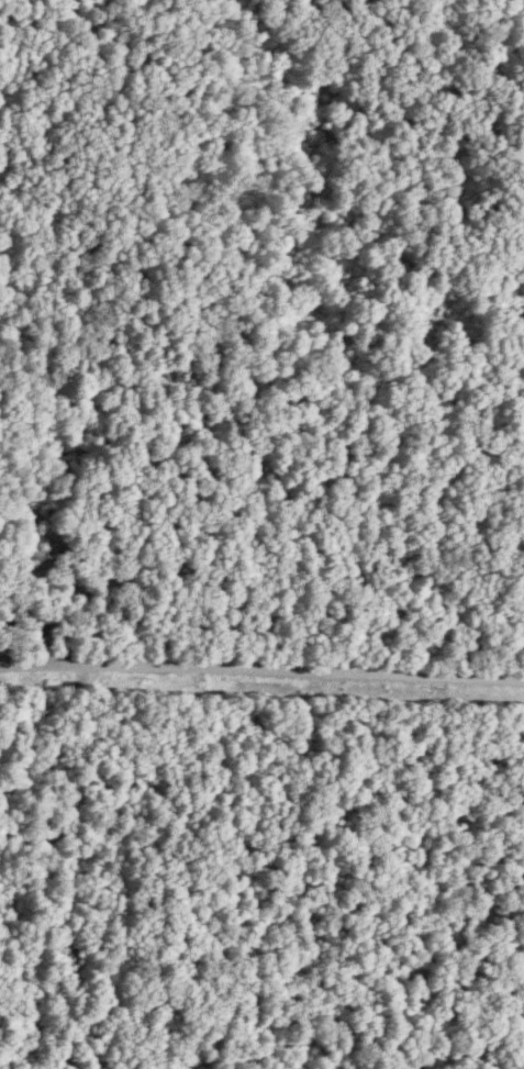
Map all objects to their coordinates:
road: (261, 670)

